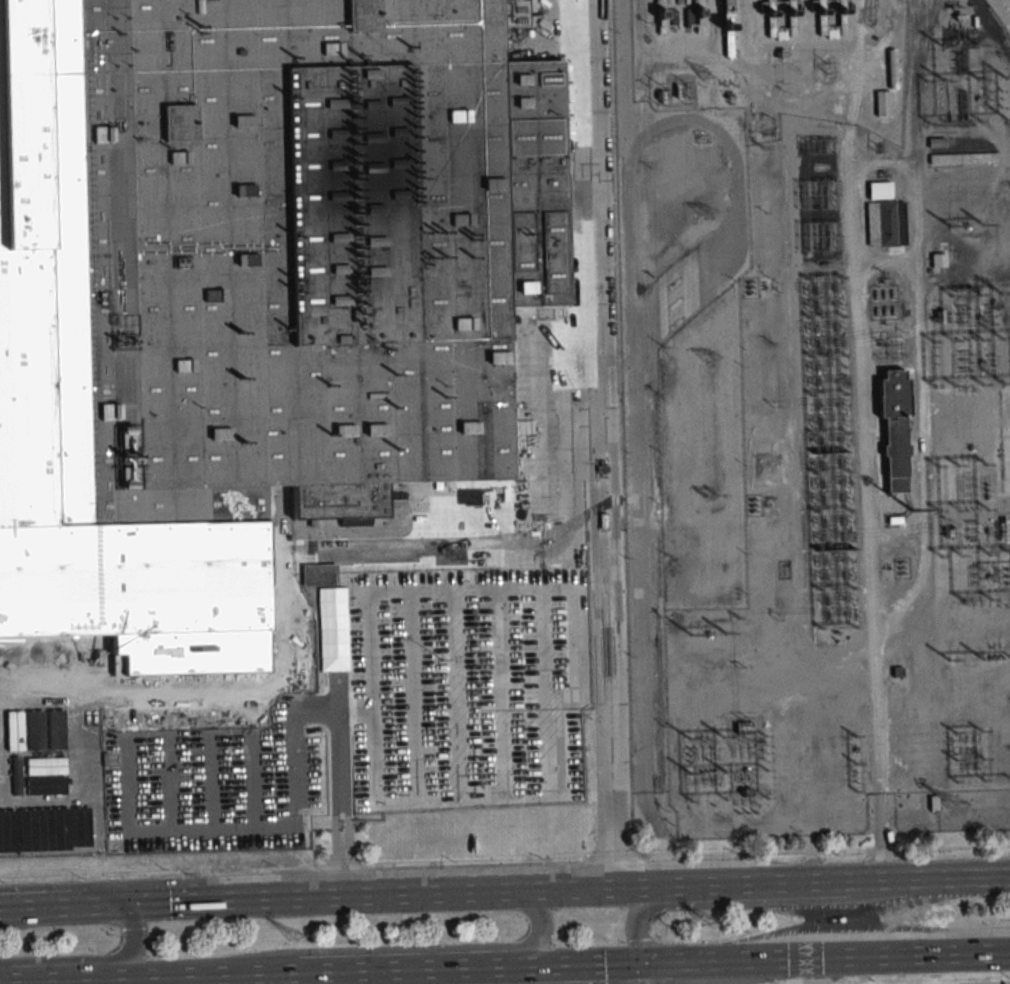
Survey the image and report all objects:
building: (790, 14)
building: (831, 18)
building: (728, 40)
power tower: (825, 69)
power tower: (701, 73)
building: (883, 103)
road: (916, 203)
power tower: (703, 213)
building: (884, 216)
road: (897, 265)
building: (249, 291)
power tower: (707, 359)
power substation: (816, 410)
building: (894, 429)
road: (595, 443)
power tower: (711, 498)
building: (43, 642)
road: (811, 652)
building: (43, 662)
road: (334, 689)
building: (45, 698)
road: (316, 716)
building: (46, 724)
building: (366, 726)
building: (46, 742)
building: (426, 758)
power tower: (945, 806)
road: (888, 817)
road: (662, 837)
road: (883, 837)
road: (341, 858)
road: (505, 860)
road: (811, 883)
road: (348, 897)
road: (752, 903)
traffic signals: (112, 904)
road: (41, 907)
power tower: (704, 922)
road: (863, 935)
power tower: (290, 936)
road: (398, 949)
road: (998, 952)
road: (904, 955)
road: (93, 959)
road: (732, 960)
road: (796, 960)
traffic signals: (644, 963)
road: (608, 964)
road: (547, 966)
road: (402, 969)
road: (644, 973)
road: (228, 975)
road: (87, 979)
road: (174, 980)
road: (982, 983)

